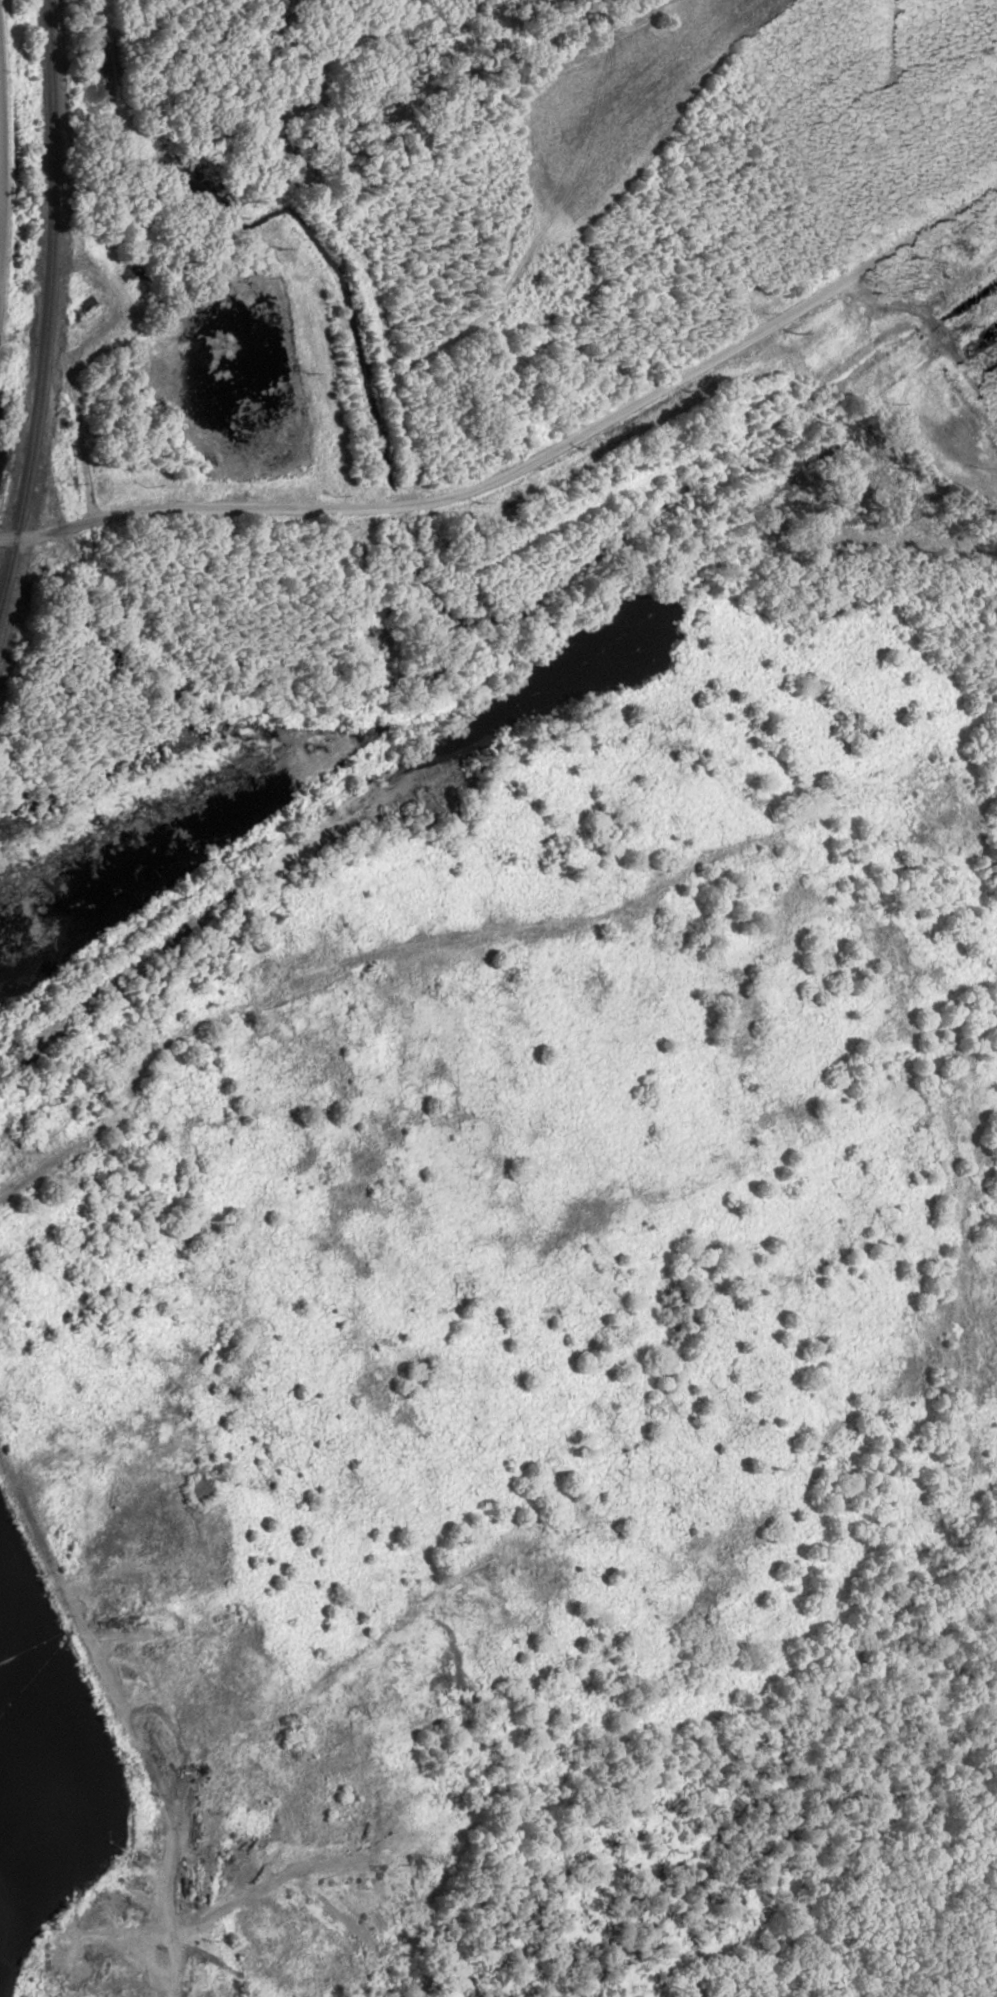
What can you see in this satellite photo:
railway: (47, 299)
road: (528, 460)
railway: (323, 793)
road: (57, 1160)
road: (112, 1700)
road: (176, 1970)

